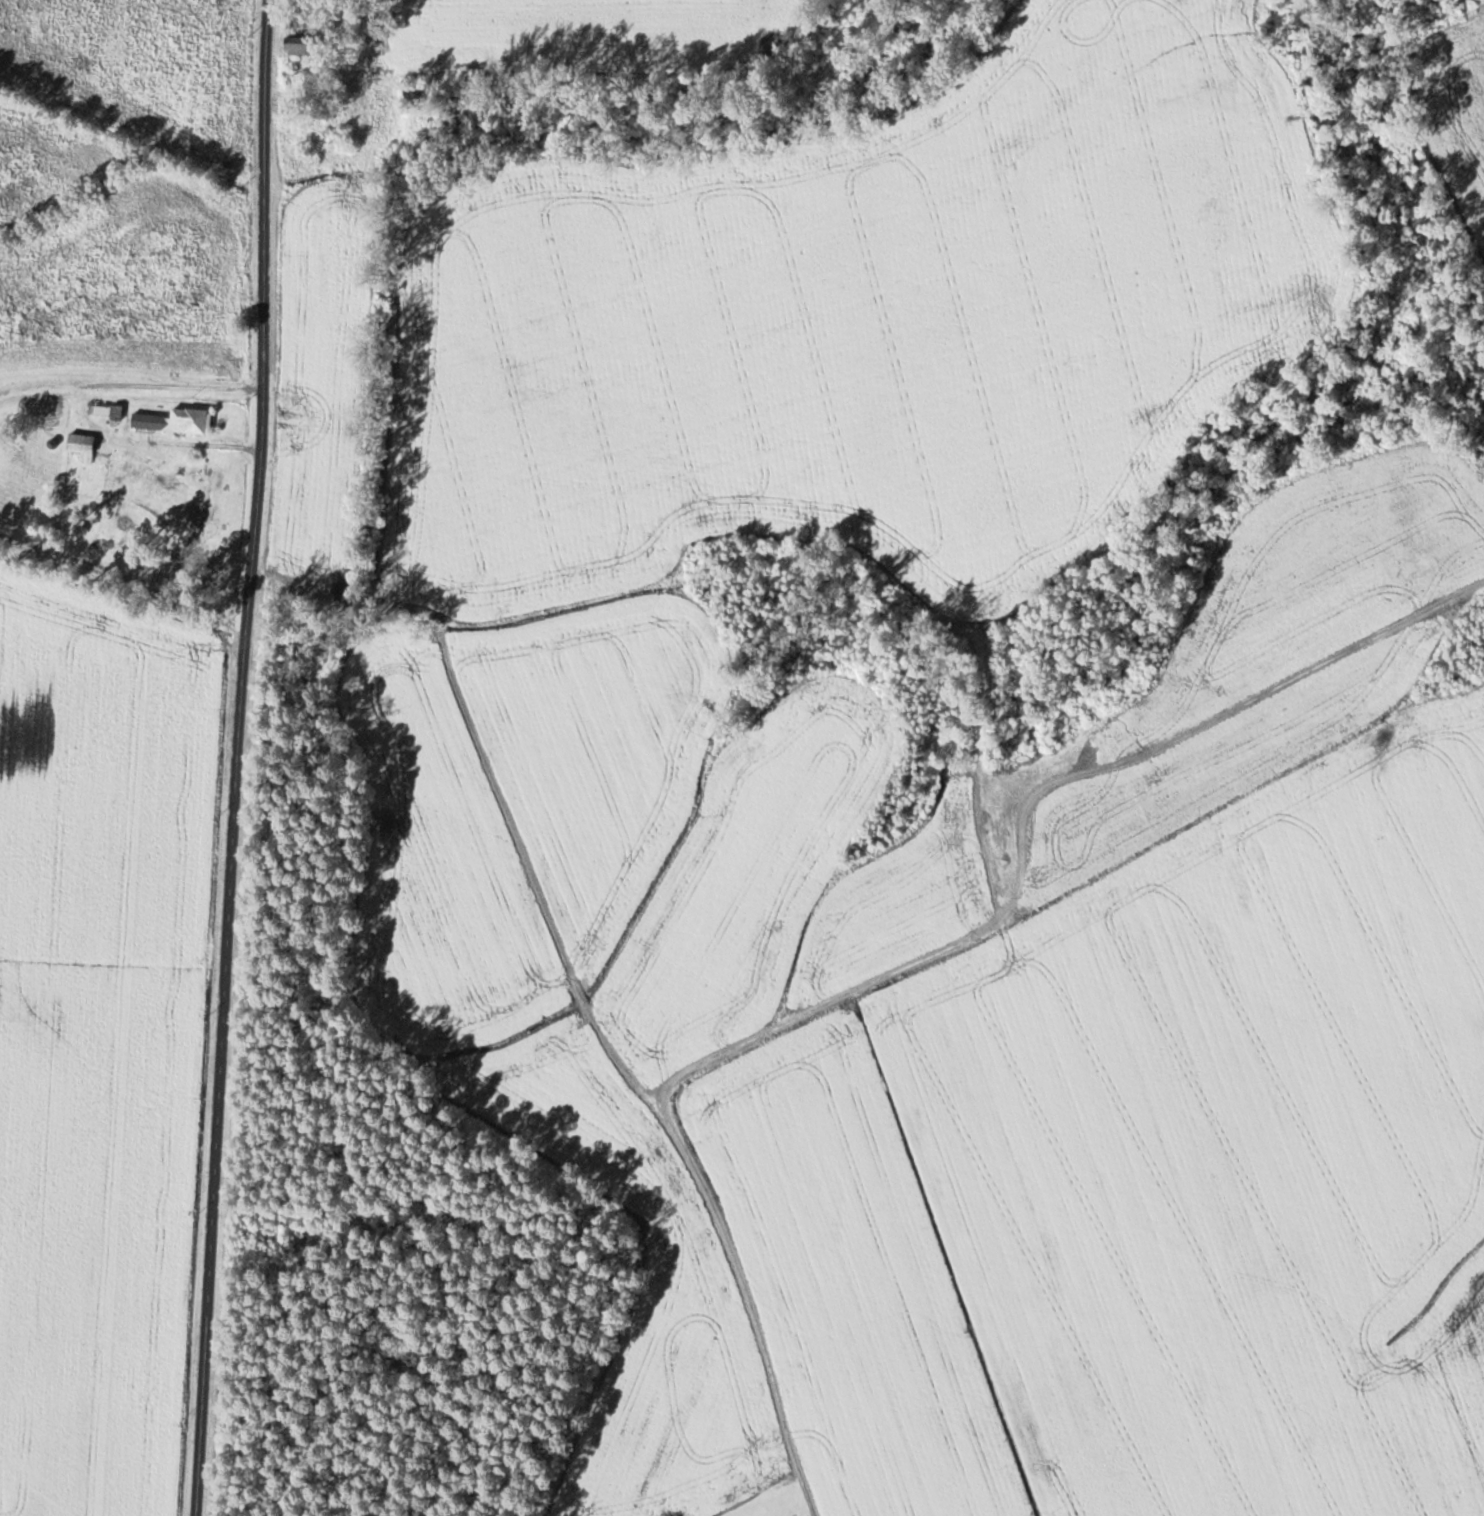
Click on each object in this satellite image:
building: (295, 37)
building: (174, 421)
building: (79, 444)
road: (236, 758)

